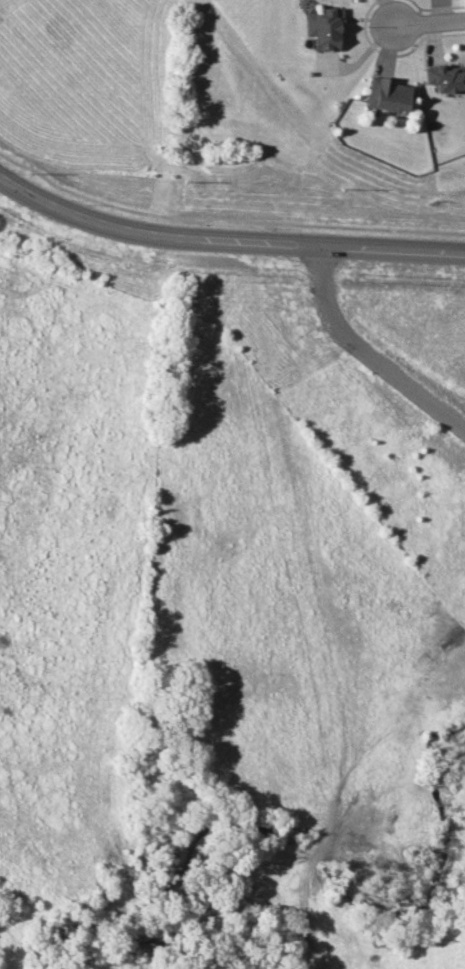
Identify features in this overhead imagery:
road: (428, 20)
building: (324, 28)
building: (446, 77)
building: (388, 93)
road: (226, 239)
road: (364, 356)

